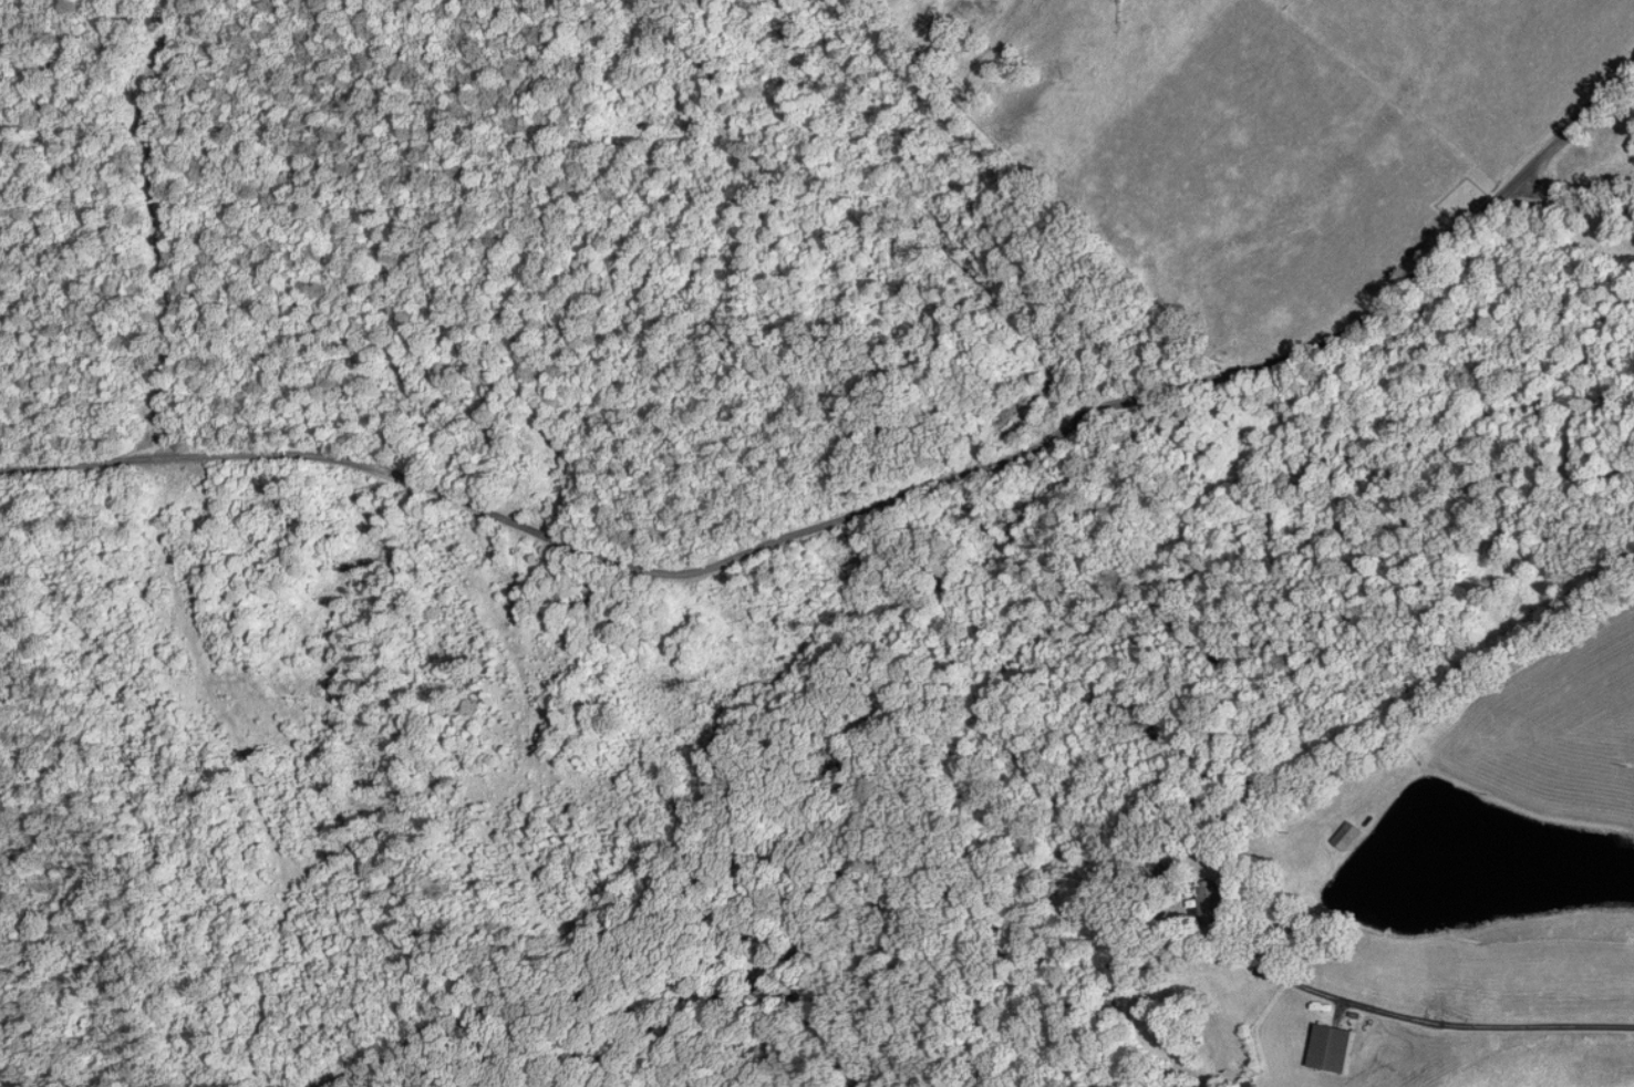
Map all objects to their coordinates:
road: (1574, 203)
road: (869, 507)
building: (1342, 837)
building: (1208, 903)
road: (1440, 1021)
building: (1311, 1046)

